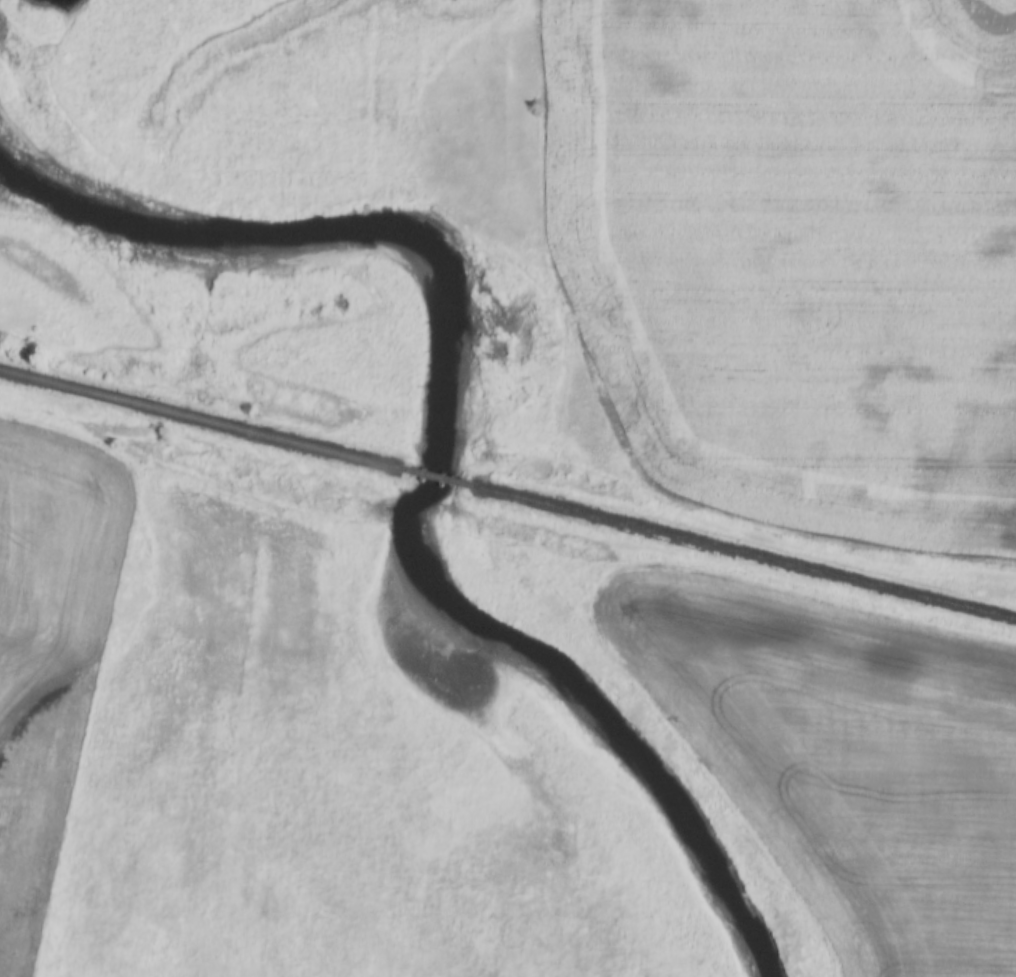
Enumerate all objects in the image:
railway: (201, 420)
river: (435, 421)
railway: (436, 478)
railway: (743, 553)

